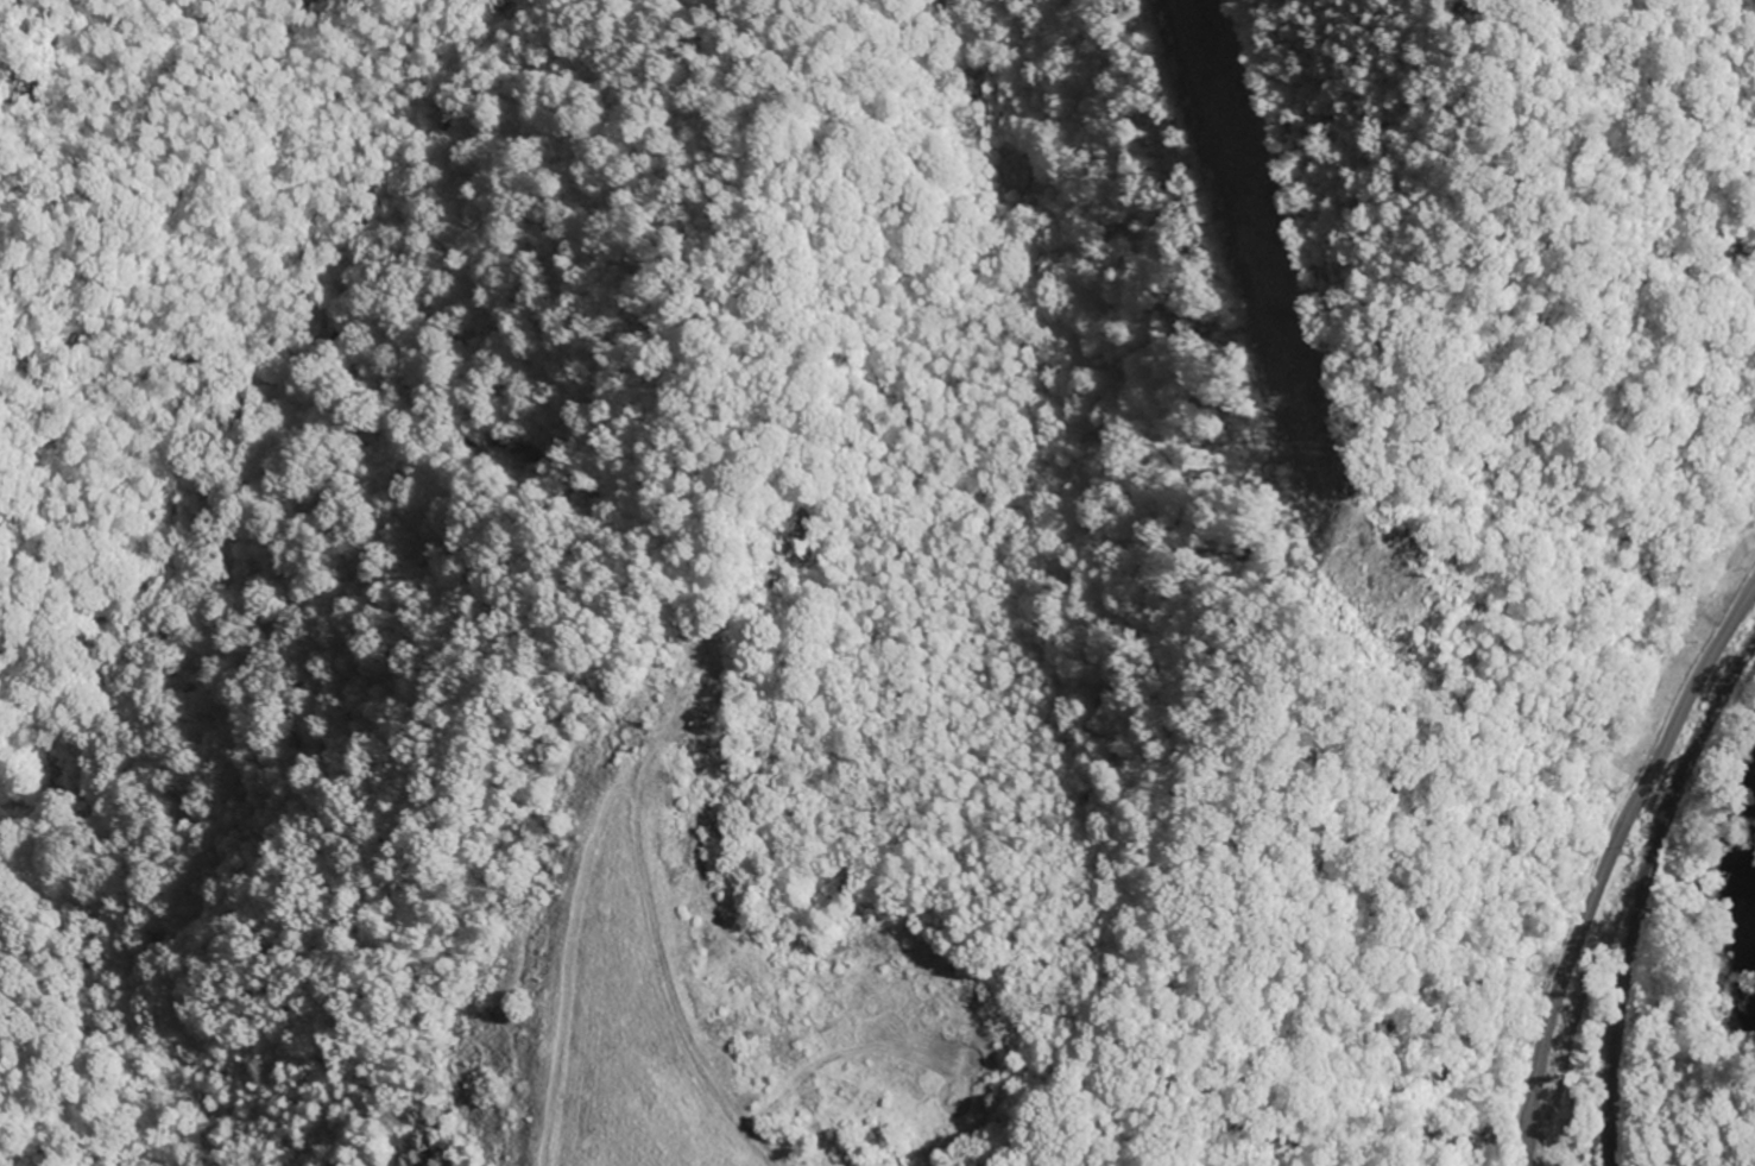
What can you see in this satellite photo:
road: (1603, 863)
railway: (1643, 888)

